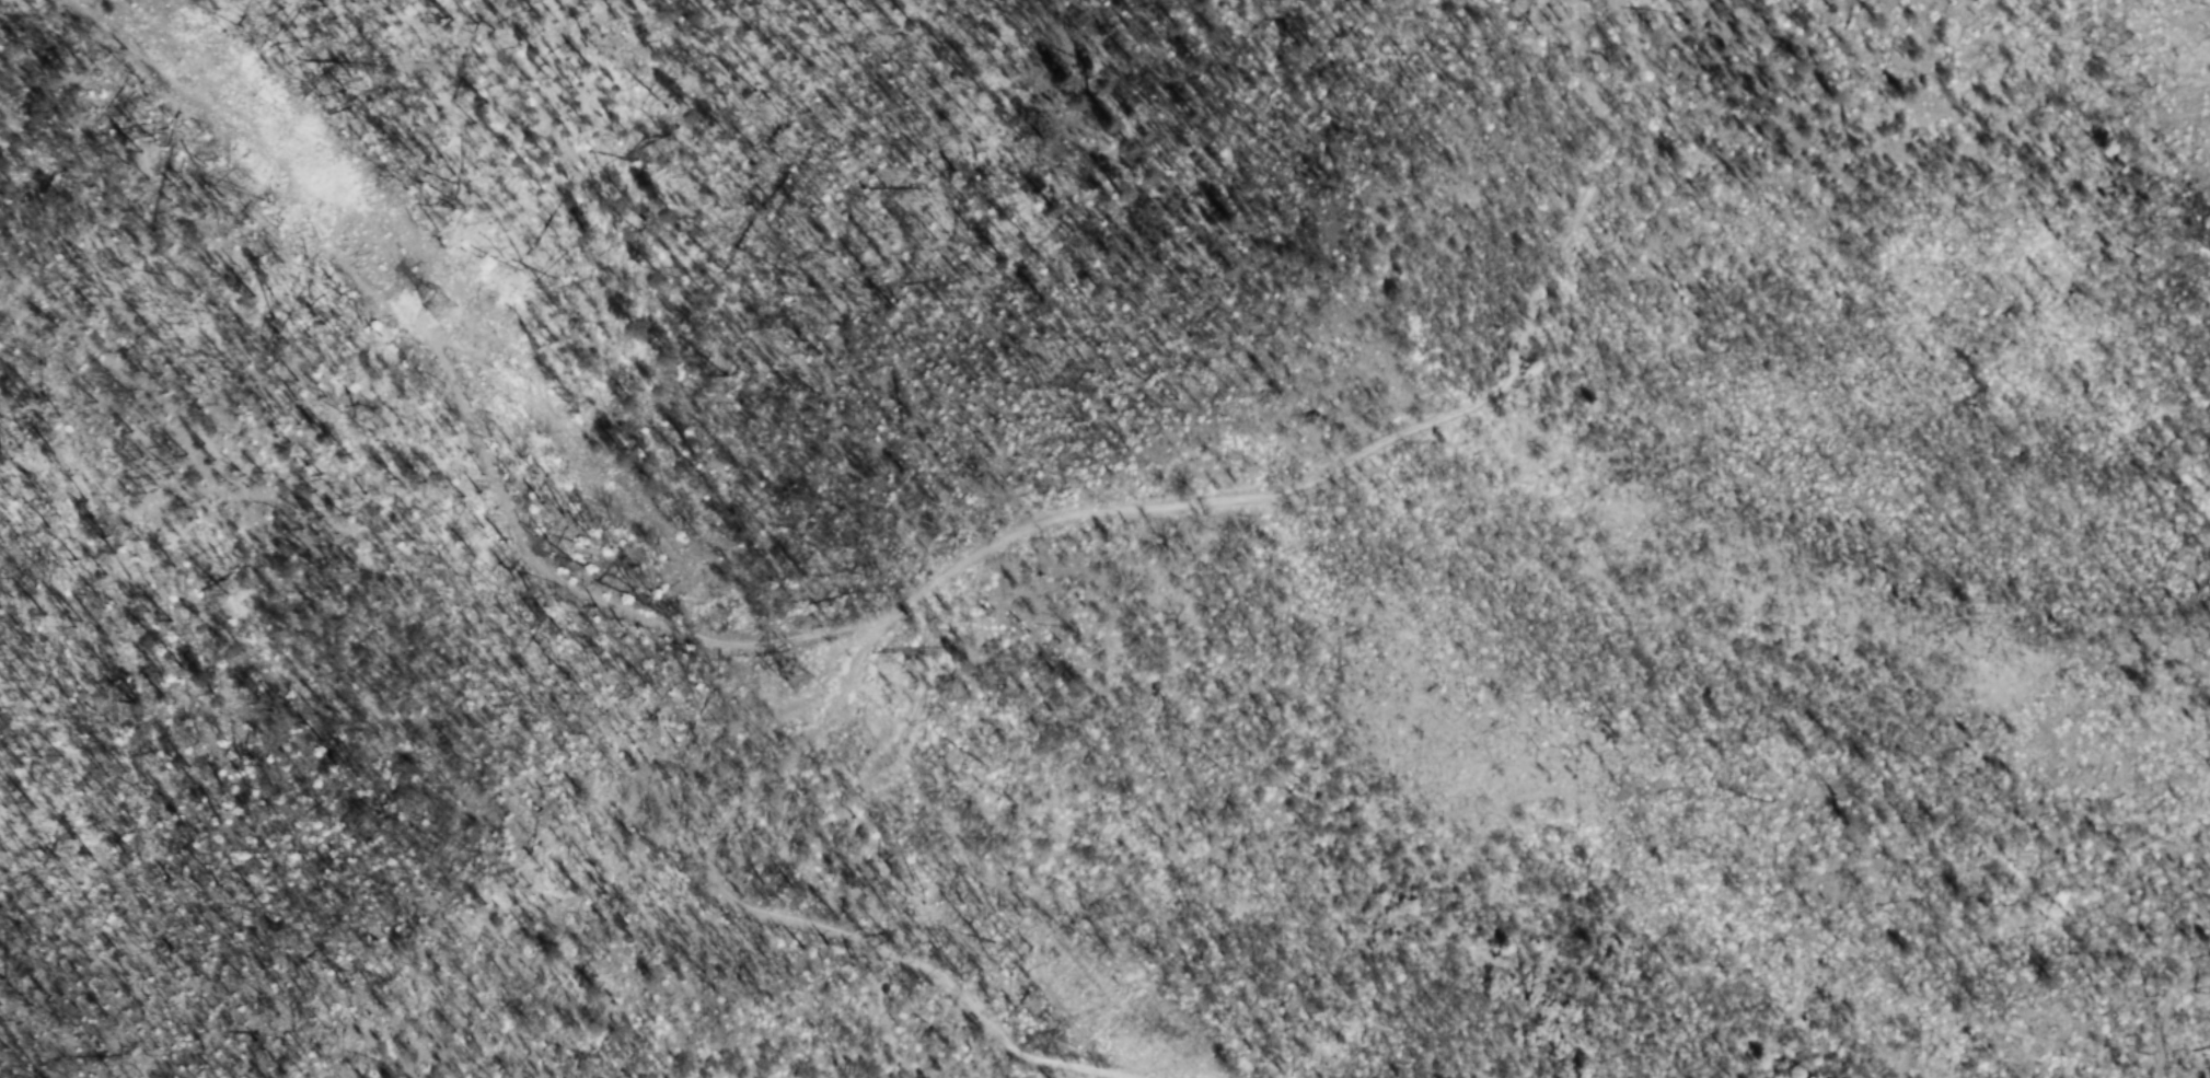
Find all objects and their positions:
power tower: (442, 306)
power tower: (802, 679)

